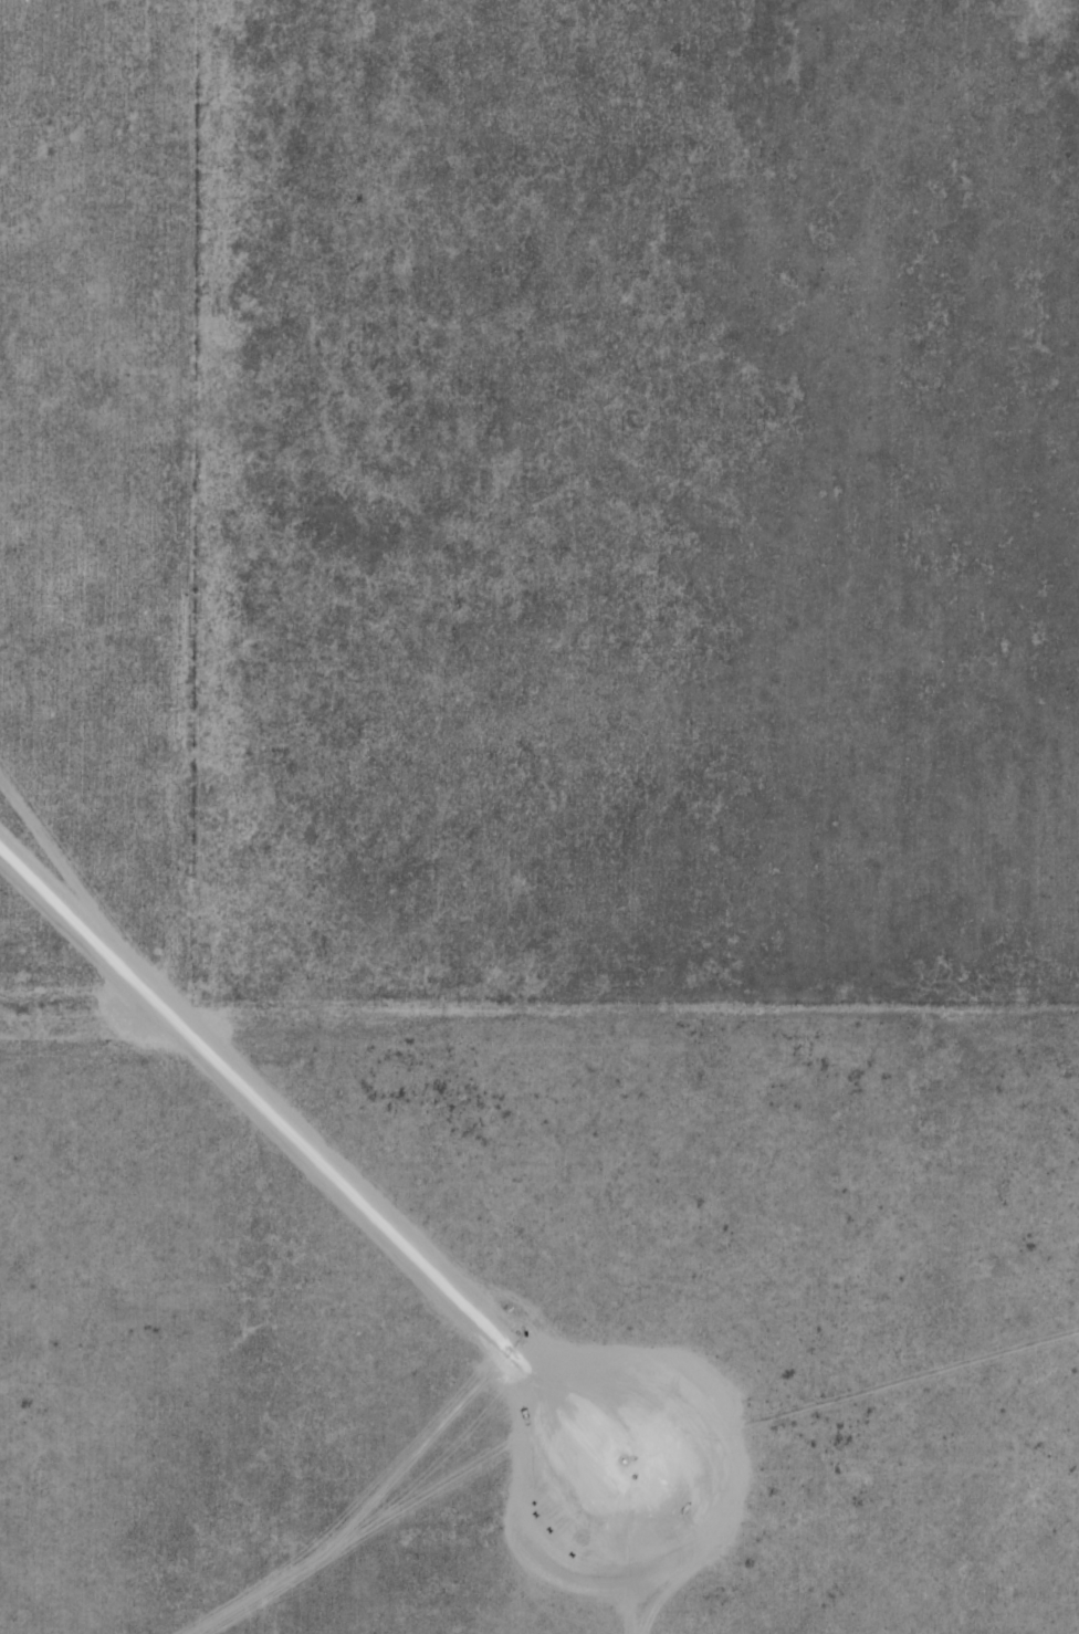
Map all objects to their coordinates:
wind turbine: (615, 1458)

